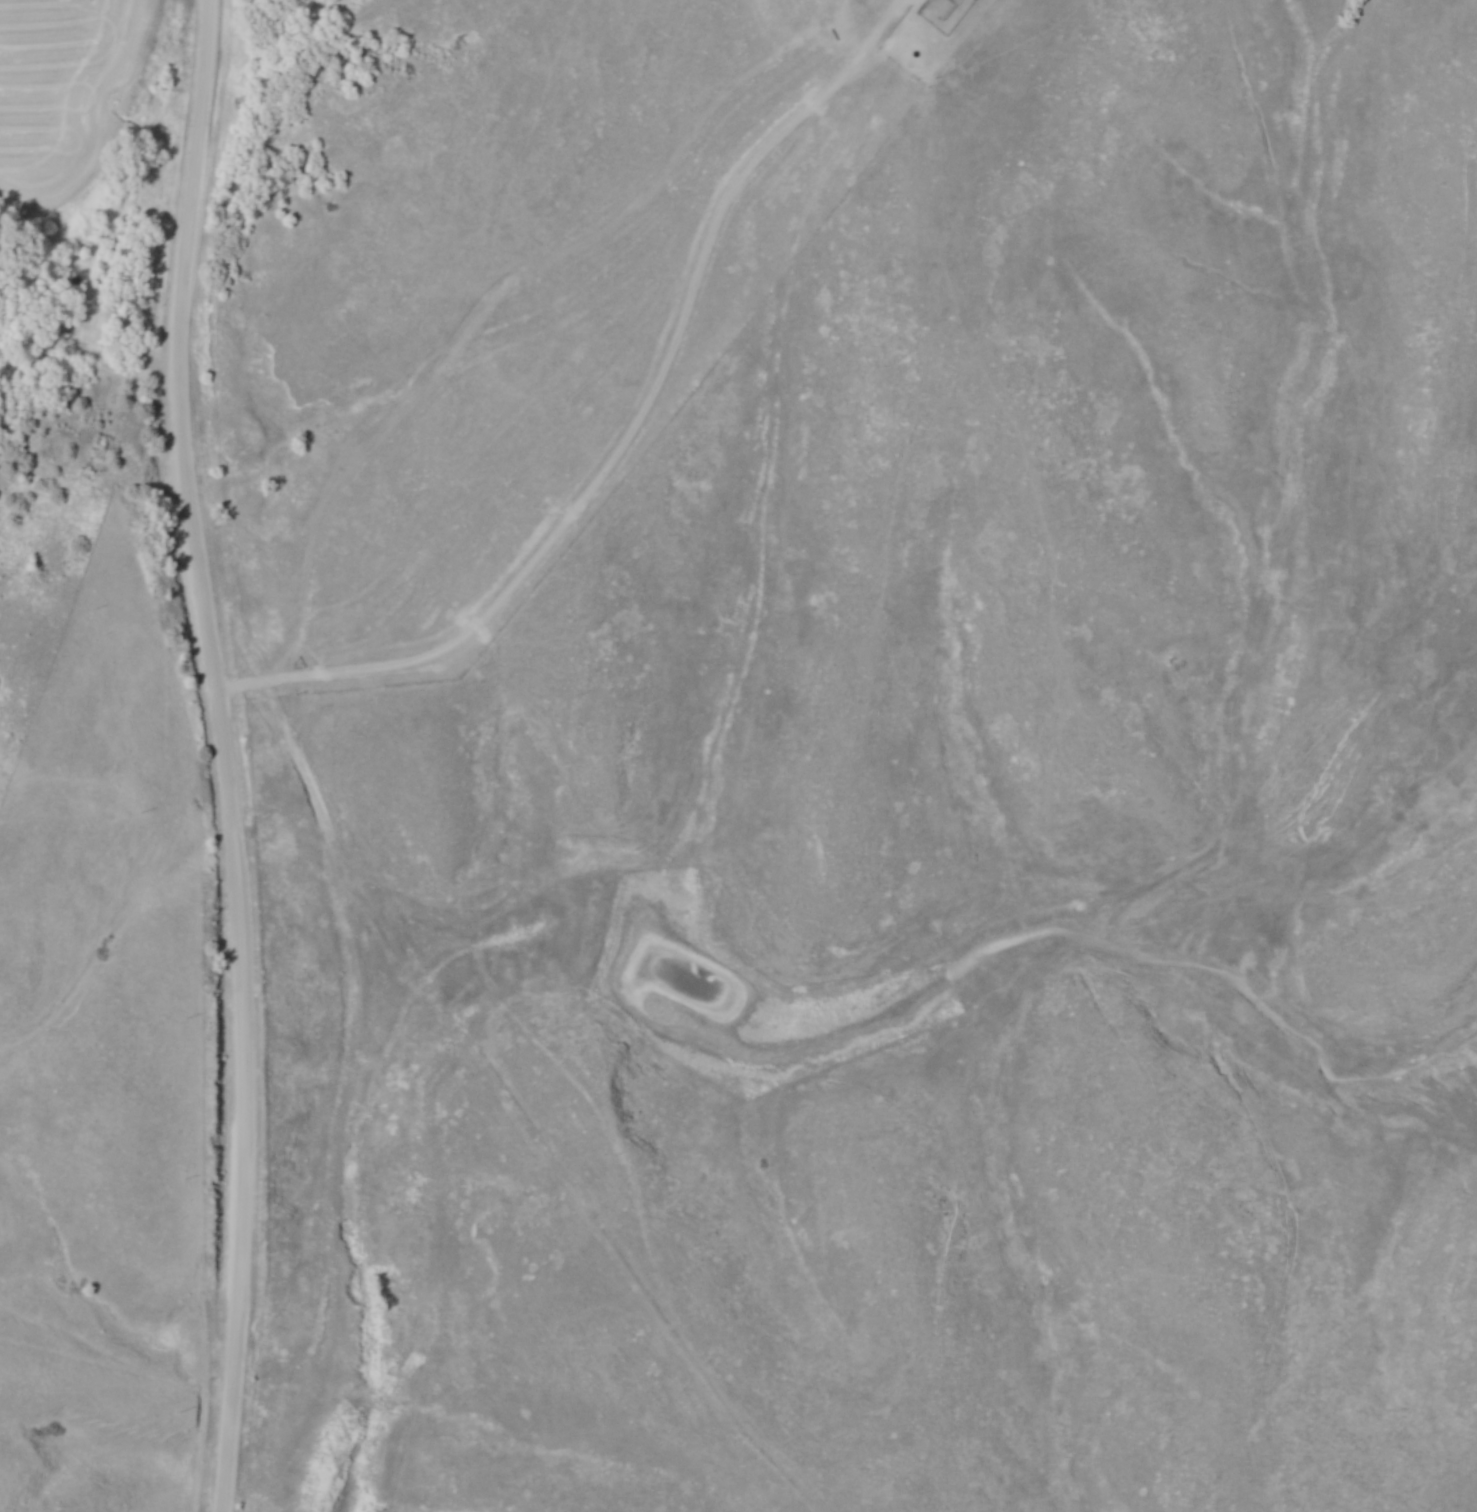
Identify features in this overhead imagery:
crop: (56, 84)
road: (225, 754)

